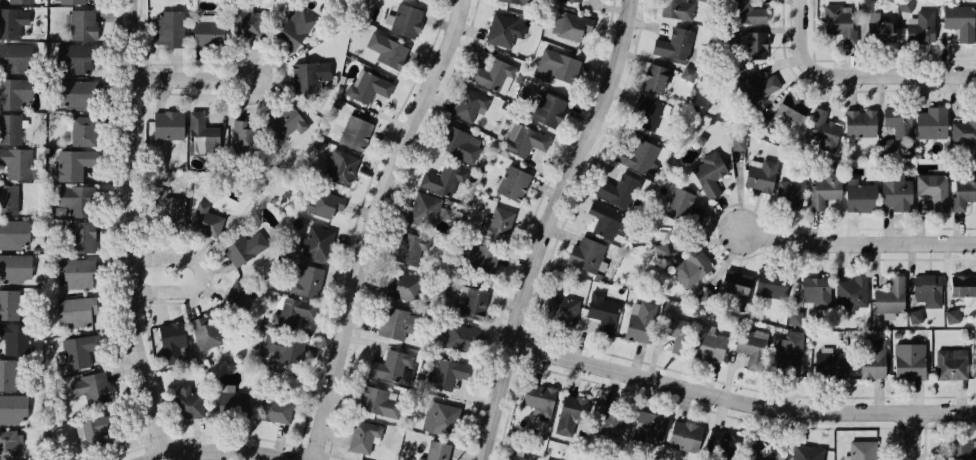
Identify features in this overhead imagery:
building: (521, 0)
building: (570, 0)
building: (18, 1)
building: (74, 1)
building: (866, 5)
building: (673, 9)
building: (904, 9)
building: (746, 12)
building: (404, 20)
building: (11, 21)
building: (836, 21)
building: (959, 22)
building: (82, 24)
building: (243, 24)
building: (924, 24)
building: (568, 26)
building: (294, 27)
building: (170, 28)
building: (501, 28)
building: (207, 30)
building: (882, 34)
building: (675, 43)
building: (753, 43)
building: (386, 49)
building: (11, 58)
road: (864, 58)
building: (73, 59)
building: (554, 65)
road: (857, 73)
building: (491, 74)
building: (304, 75)
building: (688, 75)
road: (206, 78)
building: (652, 79)
building: (755, 84)
building: (366, 88)
road: (843, 90)
building: (75, 93)
building: (10, 94)
building: (469, 102)
building: (788, 108)
building: (546, 110)
building: (644, 112)
building: (894, 116)
building: (761, 118)
building: (290, 120)
building: (166, 122)
building: (858, 122)
building: (929, 123)
building: (820, 128)
building: (964, 128)
building: (11, 130)
building: (83, 130)
building: (201, 131)
building: (243, 133)
building: (522, 139)
building: (736, 142)
building: (458, 145)
building: (886, 146)
building: (347, 153)
building: (633, 155)
building: (15, 163)
building: (69, 165)
road: (588, 167)
building: (759, 171)
building: (707, 173)
building: (442, 179)
building: (511, 183)
building: (791, 189)
building: (824, 189)
building: (931, 189)
building: (963, 189)
building: (611, 190)
building: (894, 193)
building: (858, 195)
building: (7, 197)
building: (72, 199)
building: (315, 201)
building: (423, 209)
building: (682, 209)
building: (175, 214)
building: (202, 219)
building: (602, 219)
road: (373, 223)
building: (498, 223)
road: (552, 226)
road: (712, 227)
road: (135, 229)
building: (14, 232)
building: (80, 236)
building: (316, 241)
road: (857, 241)
building: (243, 247)
building: (410, 247)
building: (661, 250)
building: (474, 256)
building: (586, 256)
building: (14, 265)
building: (692, 266)
building: (73, 272)
road: (197, 275)
building: (304, 281)
building: (771, 282)
building: (734, 283)
building: (960, 285)
building: (403, 286)
building: (815, 287)
building: (927, 289)
building: (849, 295)
building: (240, 296)
building: (888, 296)
building: (469, 301)
building: (8, 304)
building: (561, 308)
building: (73, 312)
building: (603, 312)
building: (287, 313)
building: (914, 316)
building: (952, 316)
building: (792, 317)
building: (392, 322)
building: (638, 322)
building: (206, 330)
building: (675, 330)
building: (458, 334)
building: (13, 337)
building: (751, 341)
building: (705, 342)
building: (169, 343)
building: (273, 344)
building: (74, 352)
building: (787, 354)
building: (871, 358)
building: (907, 360)
building: (826, 362)
building: (950, 362)
building: (389, 365)
building: (6, 374)
building: (446, 374)
building: (91, 386)
road: (745, 387)
building: (299, 390)
building: (537, 396)
road: (744, 399)
building: (372, 400)
building: (229, 402)
building: (184, 403)
building: (570, 406)
building: (12, 408)
building: (275, 409)
building: (606, 415)
building: (443, 419)
building: (647, 425)
building: (92, 427)
building: (682, 435)
road: (913, 435)
building: (361, 436)
building: (717, 440)
building: (8, 445)
building: (958, 449)
building: (862, 450)
road: (234, 451)
building: (435, 451)
building: (760, 453)
building: (805, 454)
building: (41, 458)
road: (161, 458)
building: (508, 458)

